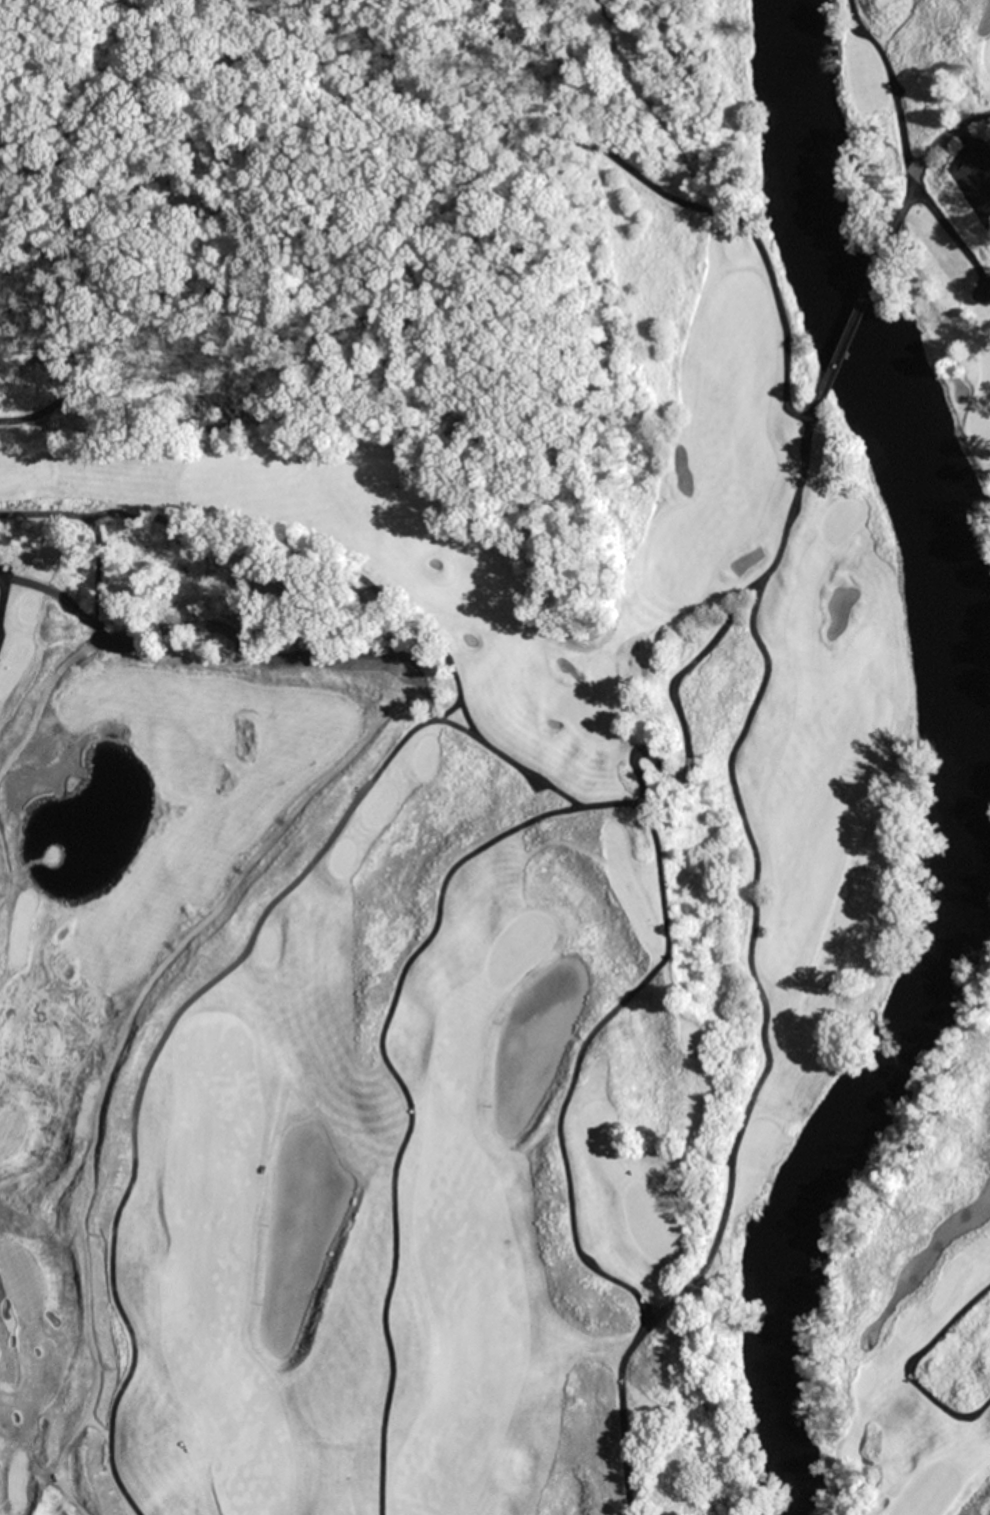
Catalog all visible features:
park: (988, 53)
road: (859, 312)
park: (982, 398)
building: (7, 566)
road: (5, 601)
park: (500, 766)
river: (966, 768)
road: (180, 965)
park: (942, 1480)

